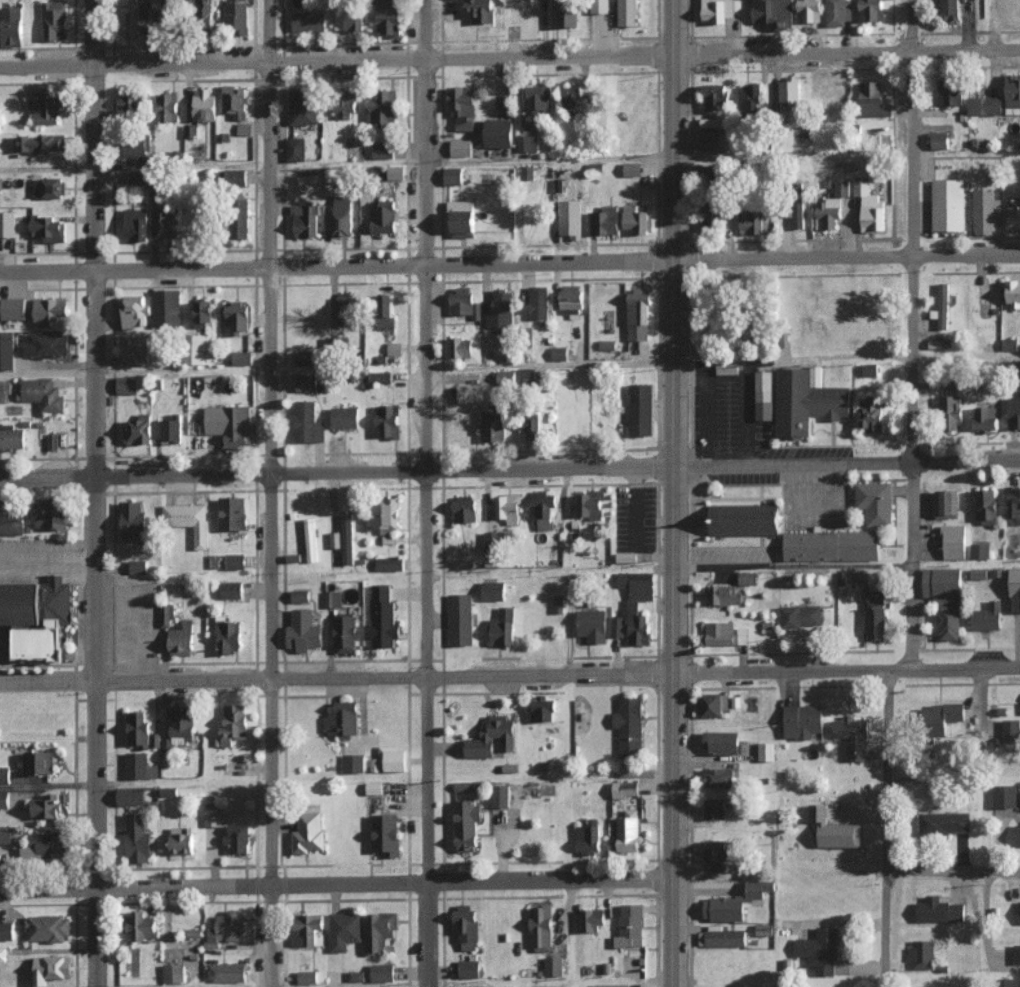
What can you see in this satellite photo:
building: (873, 9)
building: (481, 10)
building: (718, 10)
building: (808, 10)
building: (952, 10)
building: (567, 12)
building: (628, 12)
building: (772, 12)
building: (838, 12)
building: (237, 16)
building: (136, 17)
building: (389, 17)
building: (55, 19)
building: (349, 19)
building: (309, 21)
building: (127, 22)
building: (11, 26)
road: (671, 28)
road: (510, 57)
building: (789, 90)
building: (1012, 93)
building: (951, 94)
building: (714, 95)
building: (750, 95)
building: (572, 96)
building: (538, 98)
building: (873, 99)
building: (234, 100)
building: (131, 101)
building: (204, 104)
building: (303, 104)
building: (345, 104)
building: (984, 105)
building: (463, 106)
building: (45, 107)
building: (168, 107)
building: (383, 107)
building: (244, 129)
building: (499, 132)
building: (709, 140)
building: (939, 140)
building: (40, 142)
building: (527, 142)
building: (461, 147)
building: (295, 149)
building: (137, 150)
building: (383, 150)
road: (548, 160)
building: (632, 168)
building: (396, 172)
building: (453, 175)
building: (235, 176)
building: (137, 177)
building: (47, 187)
building: (841, 187)
building: (948, 204)
building: (869, 207)
building: (985, 211)
building: (829, 213)
building: (341, 215)
building: (384, 216)
building: (713, 216)
building: (1013, 216)
building: (463, 217)
building: (570, 218)
building: (634, 218)
building: (798, 218)
building: (305, 219)
building: (604, 220)
building: (166, 221)
building: (752, 221)
building: (7, 223)
building: (241, 223)
building: (136, 224)
building: (48, 228)
road: (510, 261)
building: (1013, 293)
building: (571, 296)
building: (461, 300)
building: (385, 301)
building: (538, 302)
building: (942, 306)
building: (167, 307)
building: (13, 308)
building: (347, 308)
building: (501, 309)
building: (50, 310)
building: (132, 310)
building: (203, 312)
building: (638, 315)
building: (238, 316)
building: (1009, 343)
building: (47, 344)
building: (394, 348)
building: (196, 349)
building: (7, 350)
building: (466, 350)
building: (136, 351)
building: (559, 353)
building: (241, 357)
building: (305, 357)
road: (667, 365)
building: (729, 370)
building: (526, 374)
building: (506, 376)
building: (380, 377)
road: (725, 377)
building: (307, 381)
building: (127, 384)
building: (43, 393)
building: (472, 394)
building: (766, 396)
building: (807, 403)
building: (951, 408)
building: (641, 409)
building: (1013, 412)
building: (873, 413)
road: (745, 415)
road: (706, 416)
building: (345, 417)
building: (985, 417)
building: (388, 420)
building: (307, 422)
building: (230, 424)
building: (493, 424)
parking lot: (743, 426)
building: (168, 428)
building: (139, 429)
building: (529, 429)
building: (12, 436)
building: (53, 440)
road: (510, 472)
road: (95, 493)
road: (271, 493)
road: (425, 493)
parking lot: (801, 495)
road: (909, 497)
building: (878, 502)
building: (947, 503)
building: (591, 504)
building: (986, 505)
building: (1013, 505)
building: (507, 507)
building: (544, 508)
building: (465, 509)
building: (233, 513)
building: (51, 514)
building: (388, 515)
road: (635, 516)
building: (132, 519)
parking lot: (635, 519)
building: (188, 520)
road: (676, 521)
building: (746, 521)
building: (12, 523)
building: (347, 538)
building: (310, 539)
building: (954, 542)
building: (492, 544)
building: (832, 546)
building: (979, 550)
parking lot: (734, 555)
parking lot: (38, 557)
building: (626, 557)
building: (235, 561)
building: (389, 563)
road: (730, 565)
road: (847, 565)
building: (138, 566)
building: (748, 578)
building: (1015, 589)
building: (232, 590)
building: (493, 590)
building: (300, 595)
building: (724, 595)
building: (876, 597)
building: (333, 598)
building: (945, 599)
building: (558, 603)
building: (631, 607)
building: (166, 615)
building: (801, 615)
building: (987, 617)
building: (39, 618)
building: (383, 618)
building: (460, 619)
parking lot: (132, 623)
building: (876, 623)
building: (593, 625)
building: (616, 626)
building: (503, 627)
building: (304, 631)
building: (345, 633)
building: (724, 634)
building: (228, 636)
building: (182, 638)
road: (509, 675)
building: (712, 705)
building: (541, 709)
building: (942, 717)
building: (343, 719)
building: (803, 720)
building: (182, 723)
building: (234, 724)
building: (629, 726)
building: (140, 730)
building: (1011, 731)
building: (853, 736)
building: (493, 738)
building: (722, 741)
building: (766, 751)
building: (393, 758)
building: (38, 762)
building: (353, 762)
building: (140, 766)
building: (4, 774)
building: (719, 777)
road: (48, 785)
building: (464, 786)
building: (374, 788)
building: (625, 788)
building: (131, 796)
building: (500, 796)
building: (1005, 796)
building: (4, 799)
building: (47, 806)
building: (715, 808)
building: (215, 816)
building: (945, 822)
building: (467, 825)
building: (835, 829)
building: (309, 830)
building: (628, 831)
building: (5, 834)
building: (386, 834)
building: (1018, 835)
building: (238, 837)
building: (588, 837)
building: (138, 839)
building: (182, 840)
building: (44, 846)
building: (716, 854)
road: (952, 870)
road: (336, 885)
building: (760, 888)
building: (725, 908)
building: (940, 910)
building: (592, 919)
building: (142, 926)
building: (630, 926)
building: (48, 927)
building: (466, 927)
building: (541, 927)
building: (226, 929)
building: (308, 929)
building: (764, 929)
building: (7, 930)
building: (344, 930)
building: (380, 930)
building: (722, 937)
building: (820, 950)
building: (1016, 953)
building: (923, 954)
building: (553, 966)
building: (52, 968)
building: (469, 968)
building: (173, 972)
building: (227, 972)
building: (382, 972)
building: (356, 975)
building: (307, 977)
building: (1008, 983)
building: (611, 985)

